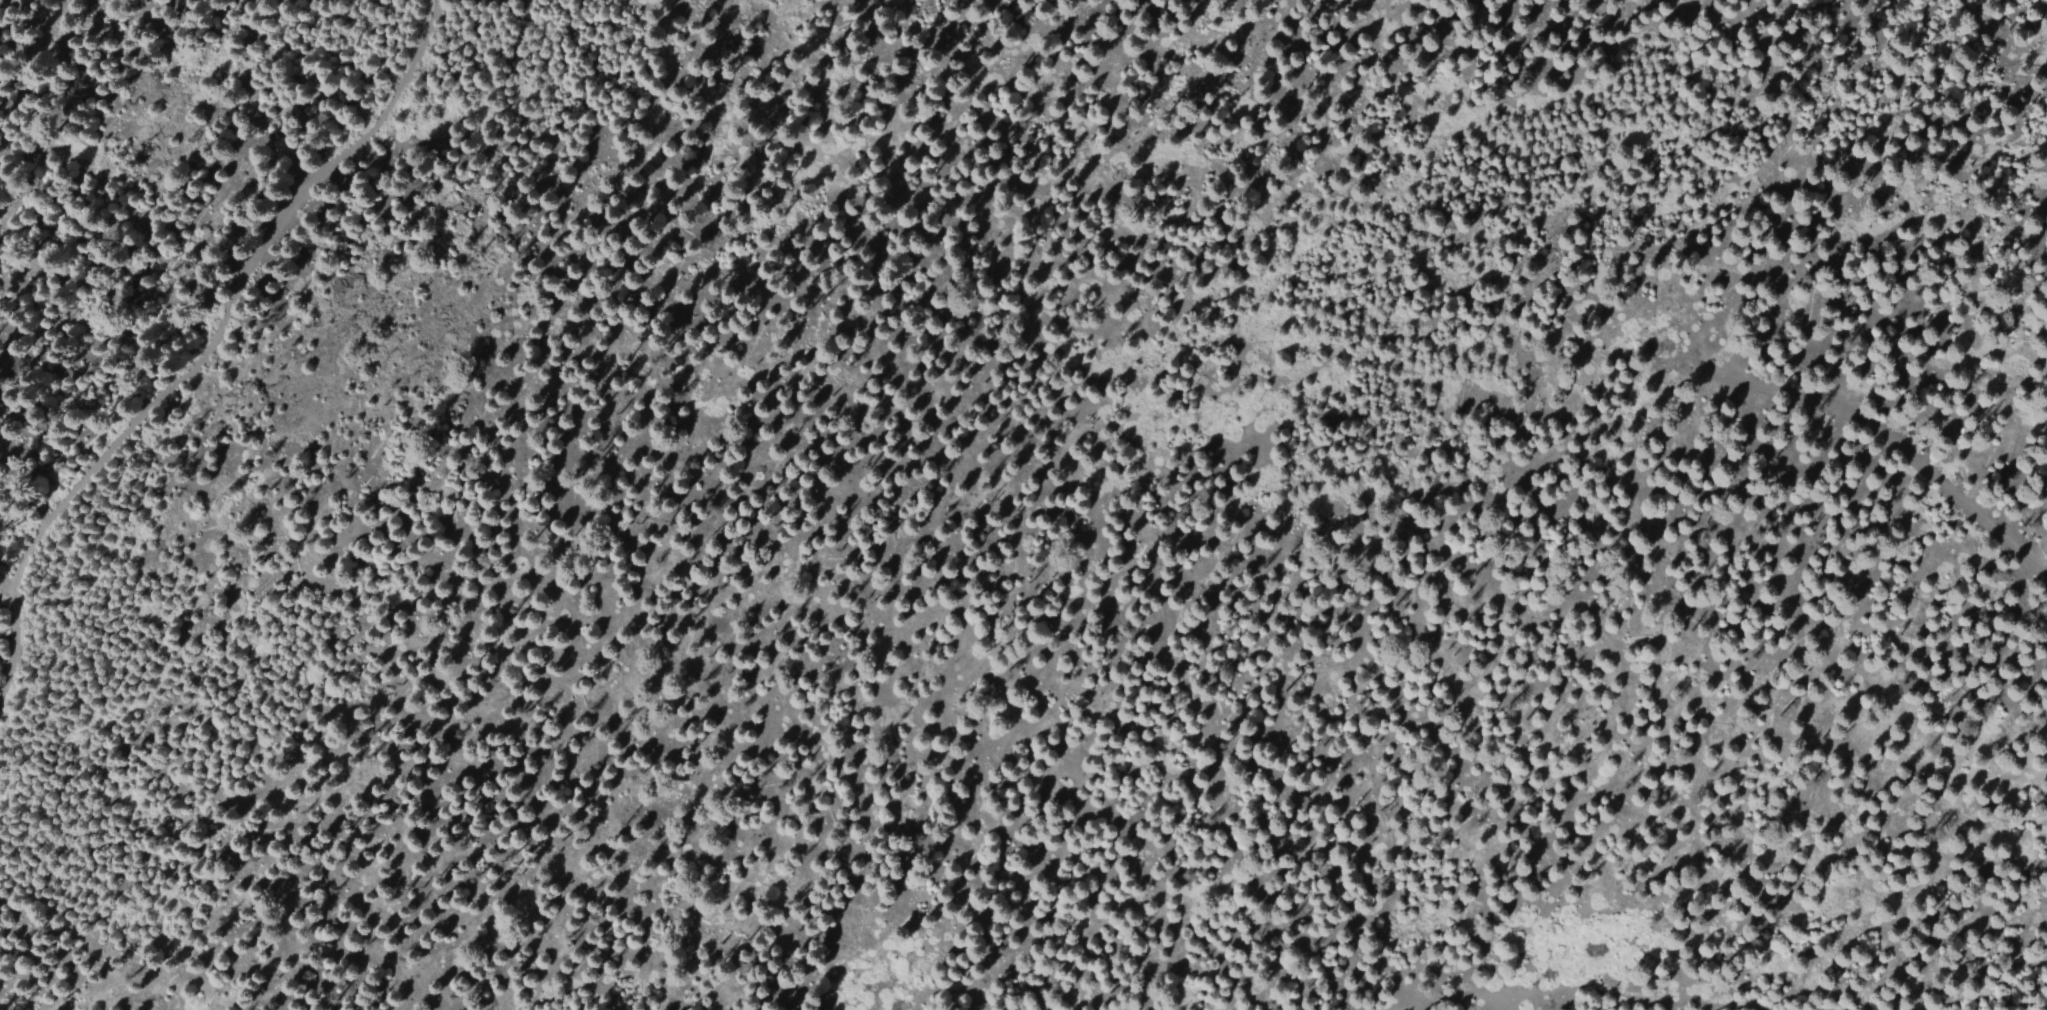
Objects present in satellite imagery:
road: (1883, 415)

